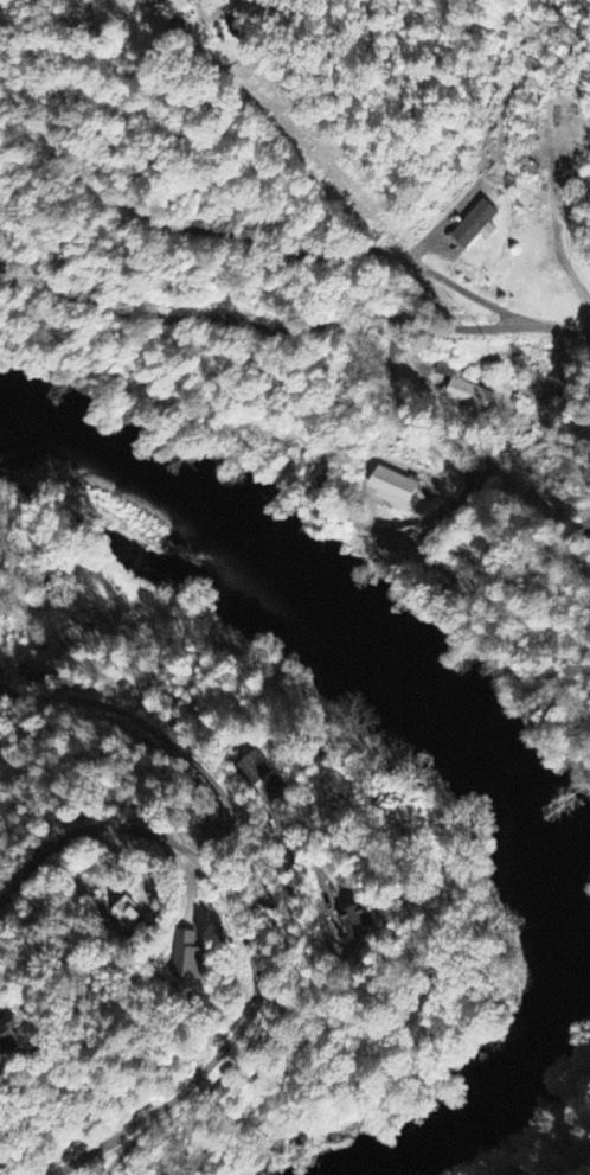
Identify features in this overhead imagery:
building: (162, 0)
building: (180, 4)
building: (475, 225)
road: (291, 331)
building: (462, 389)
building: (392, 487)
building: (588, 547)
building: (389, 551)
building: (41, 663)
river: (488, 756)
building: (254, 768)
building: (126, 915)
building: (358, 924)
road: (248, 941)
building: (186, 958)
building: (8, 1039)

